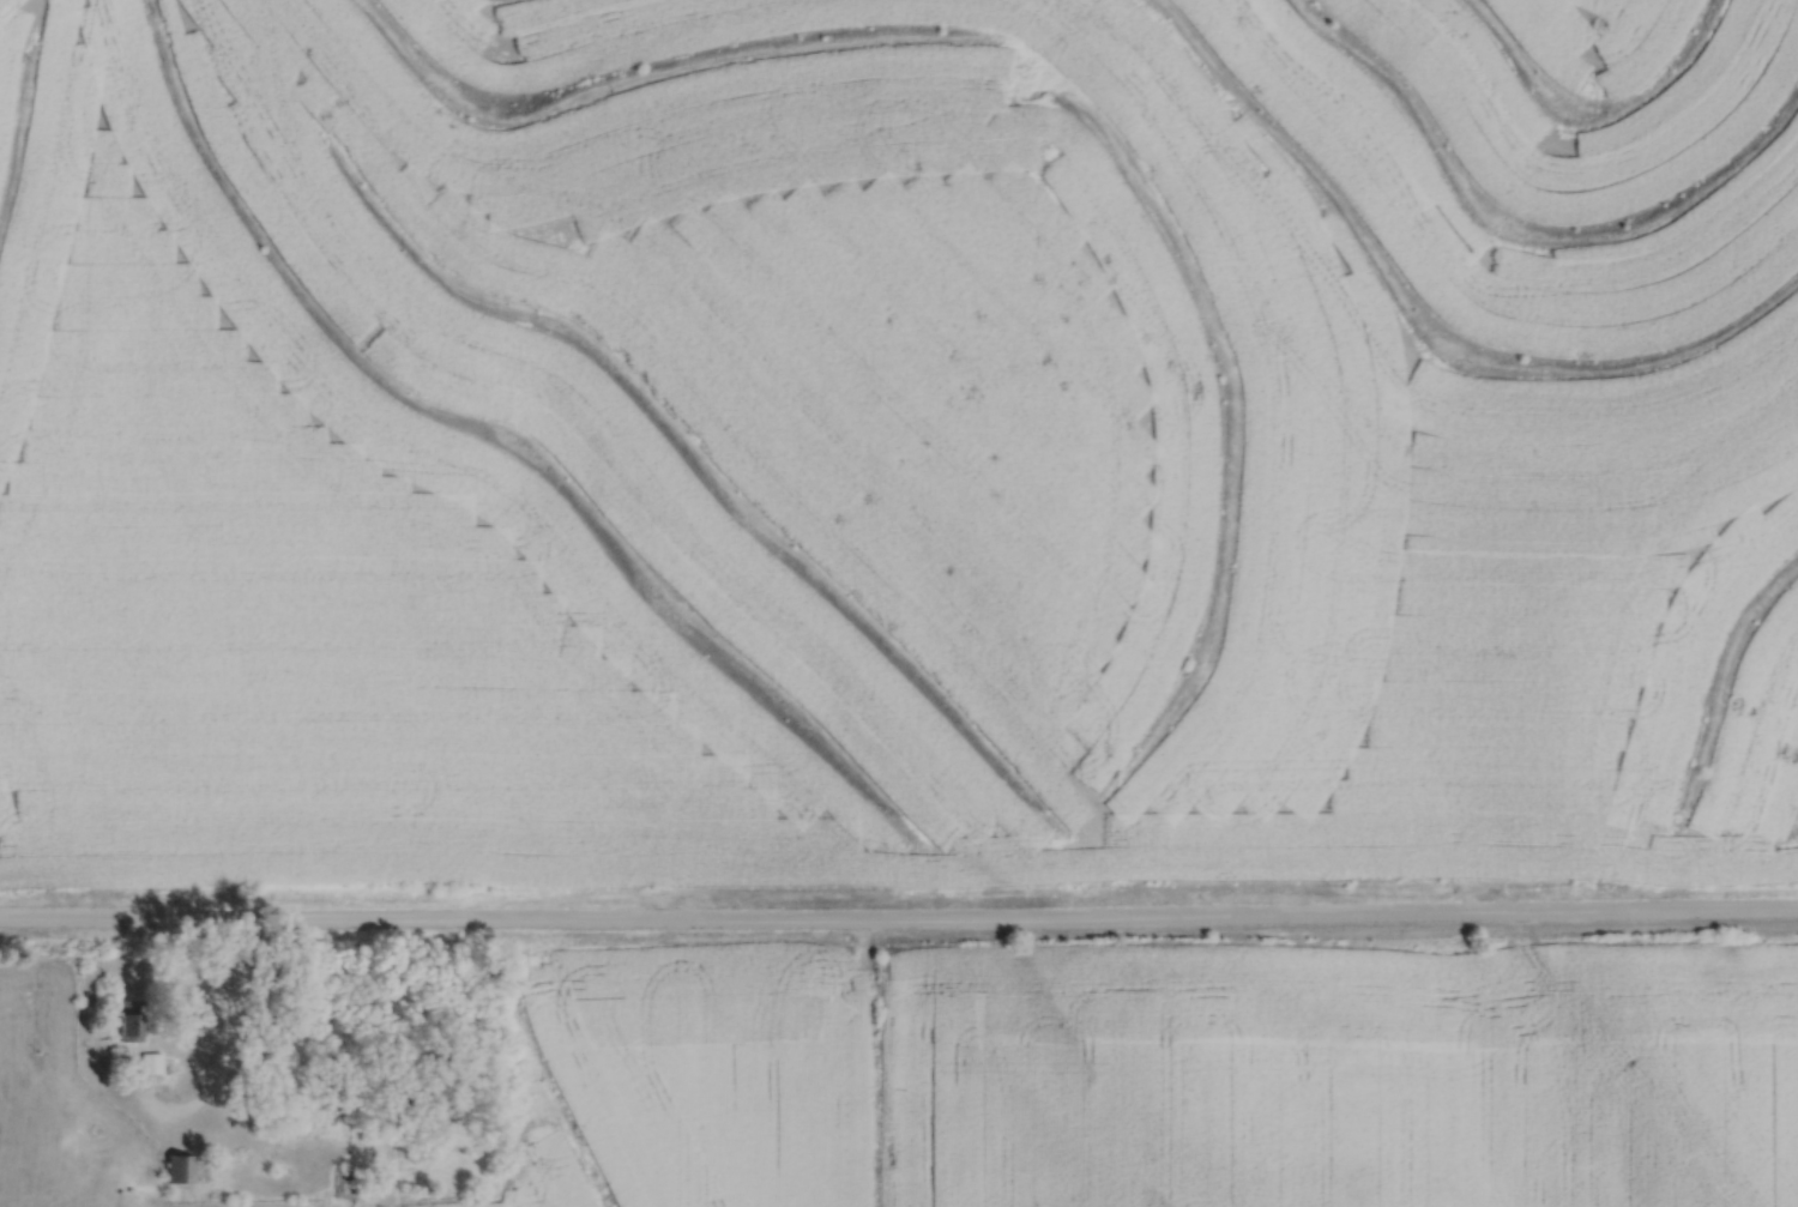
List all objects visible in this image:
road: (899, 927)
building: (134, 1020)
road: (212, 1043)
building: (155, 1063)
building: (183, 1166)
building: (348, 1182)

